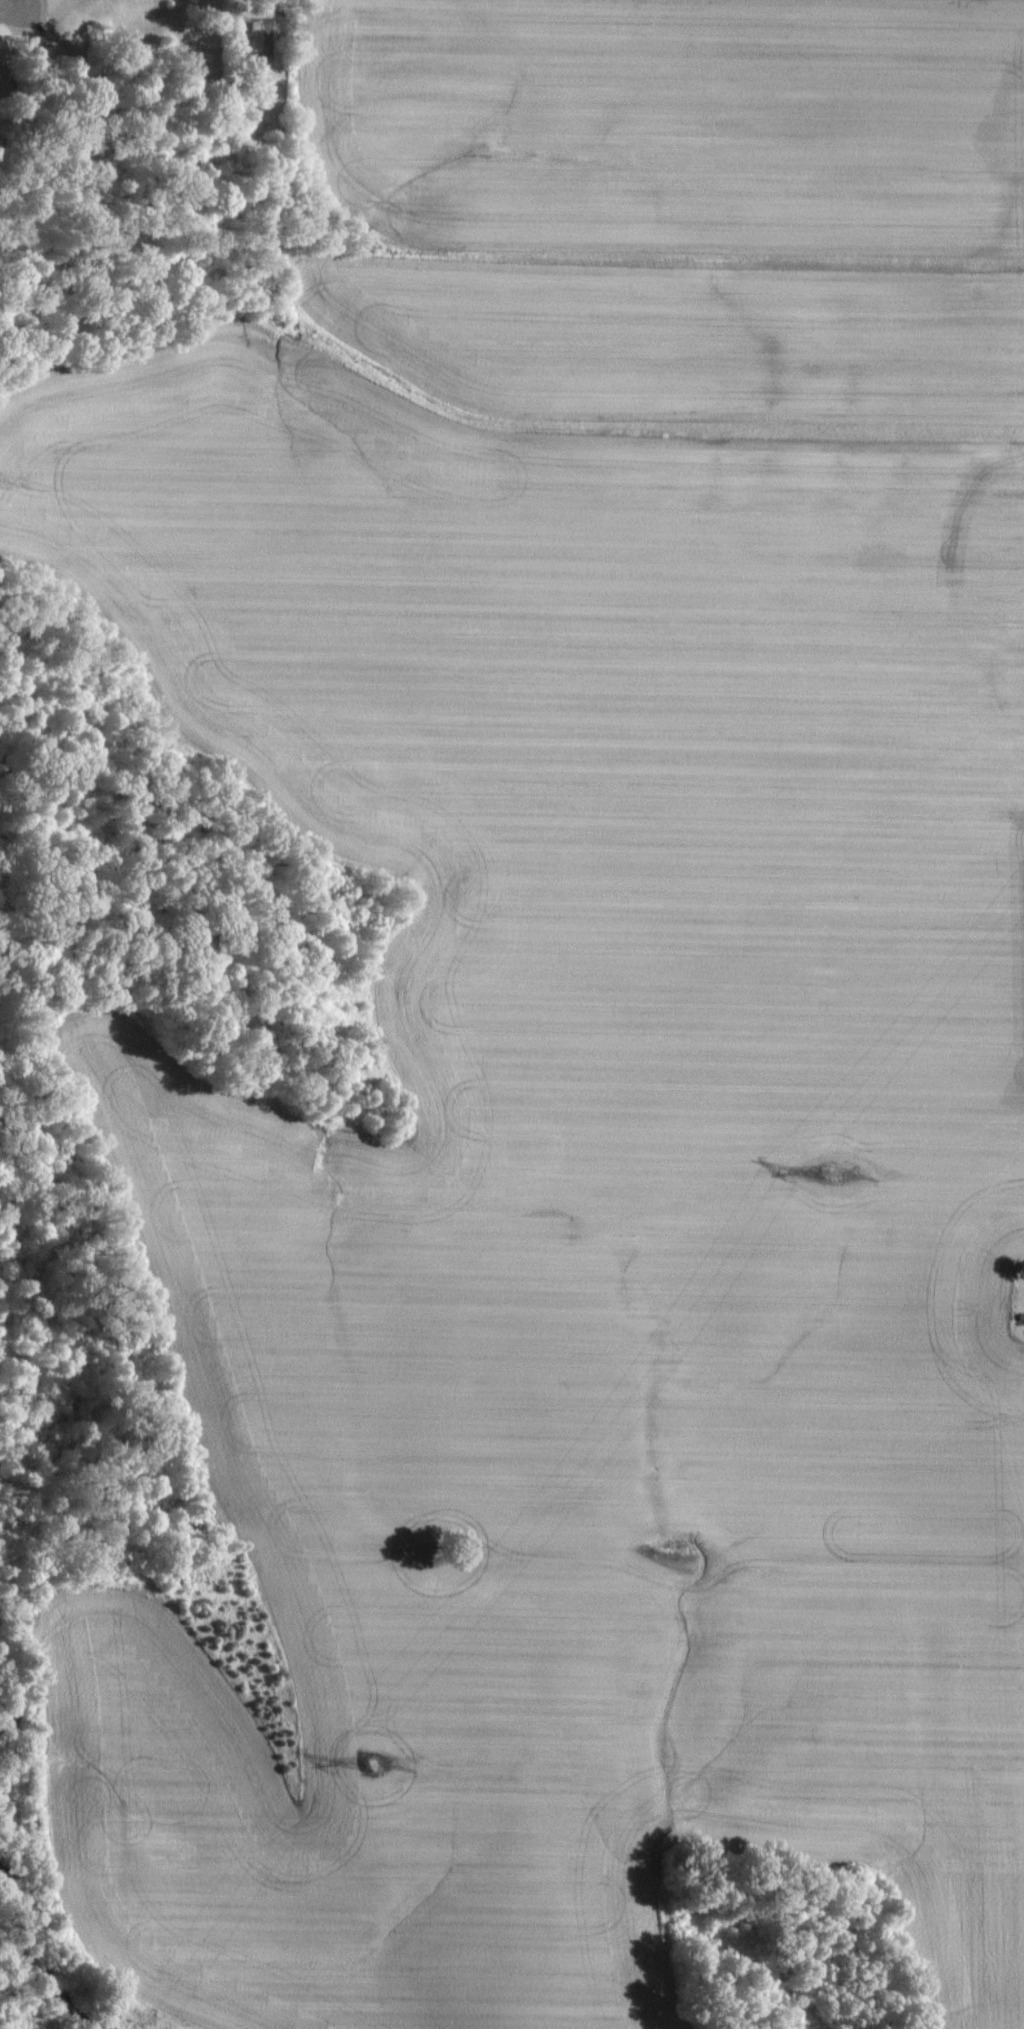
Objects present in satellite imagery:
building: (240, 30)
power tower: (831, 1175)
power tower: (371, 1763)

